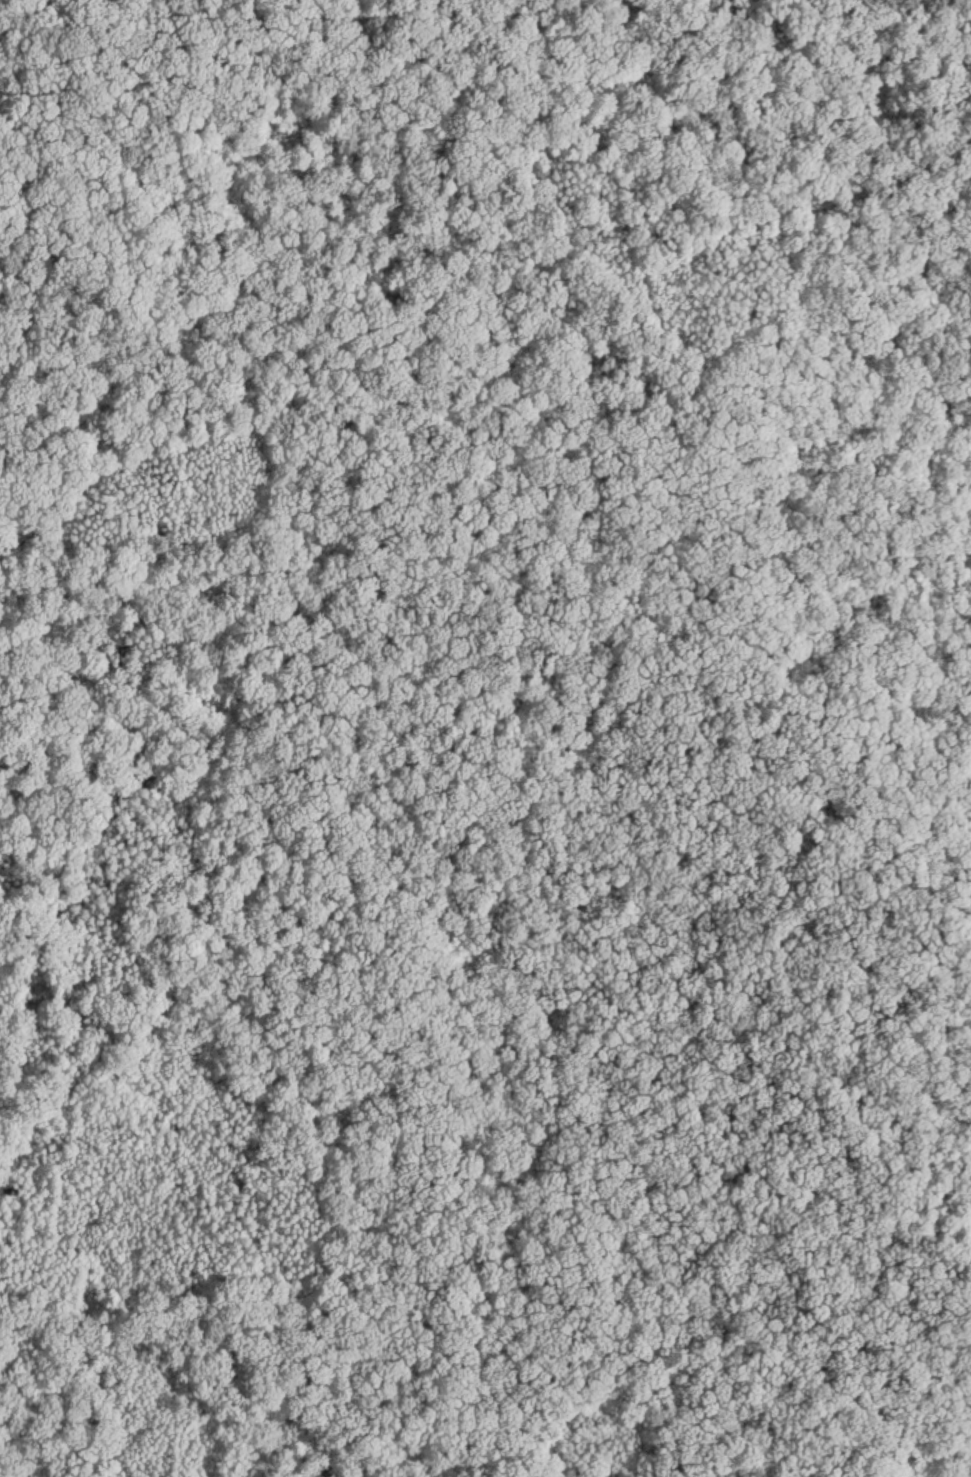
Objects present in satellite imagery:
road: (47, 8)
road: (802, 32)
road: (930, 57)
road: (527, 59)

